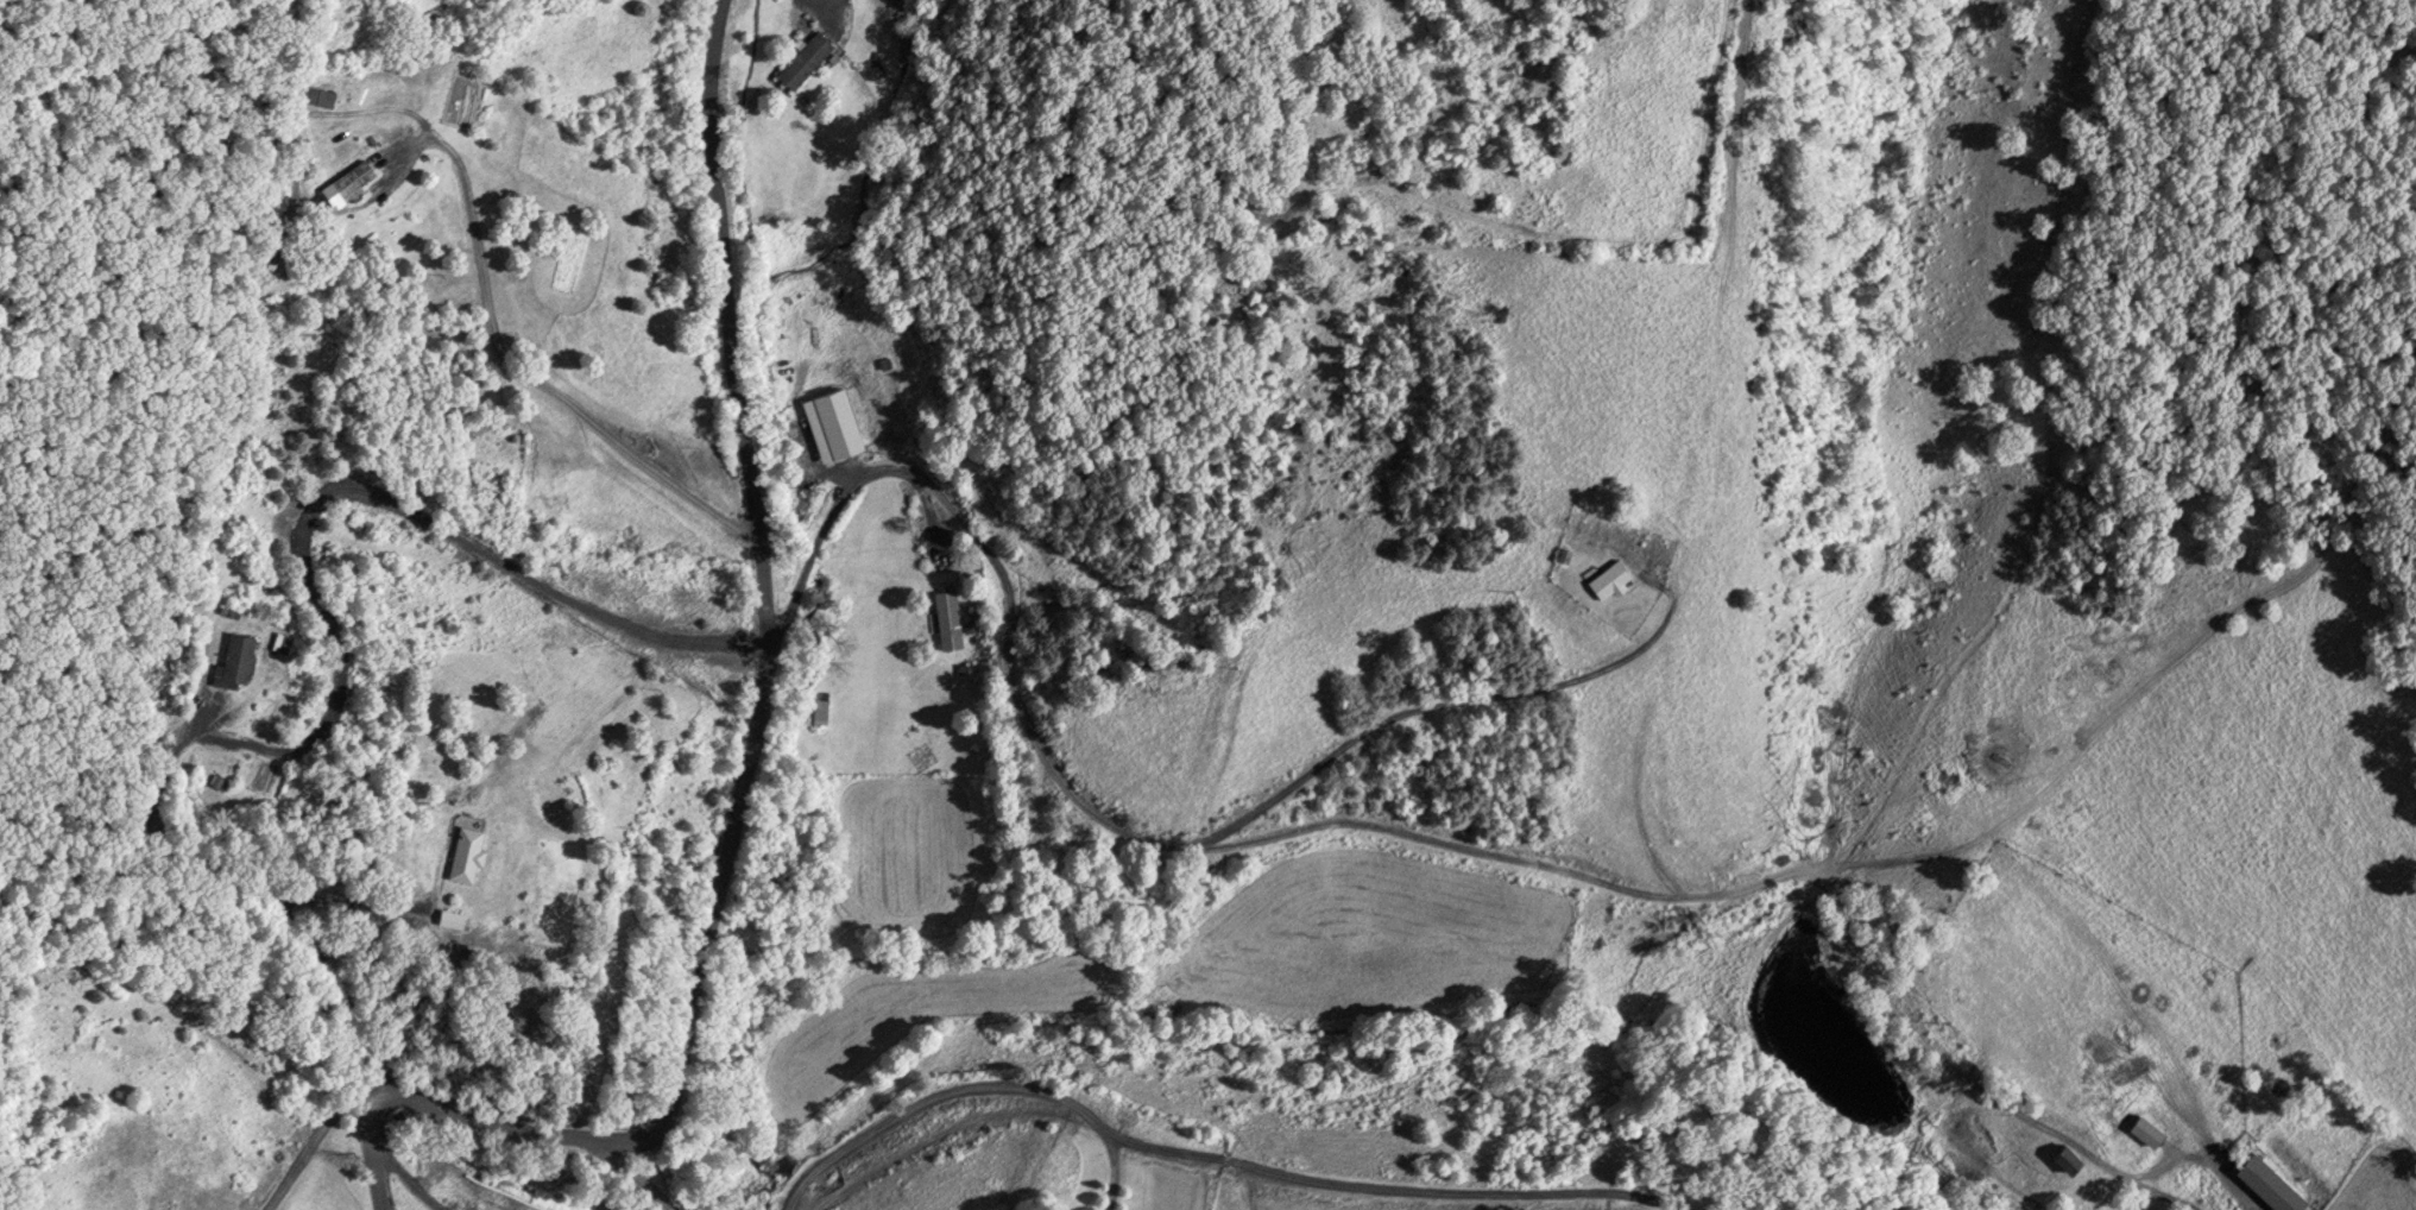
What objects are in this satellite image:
building: (806, 59)
building: (318, 96)
building: (355, 181)
building: (285, 264)
building: (833, 424)
building: (1611, 580)
building: (948, 619)
building: (236, 661)
building: (822, 702)
road: (757, 731)
building: (468, 853)
building: (2147, 1130)
building: (2070, 1159)
building: (2271, 1184)

